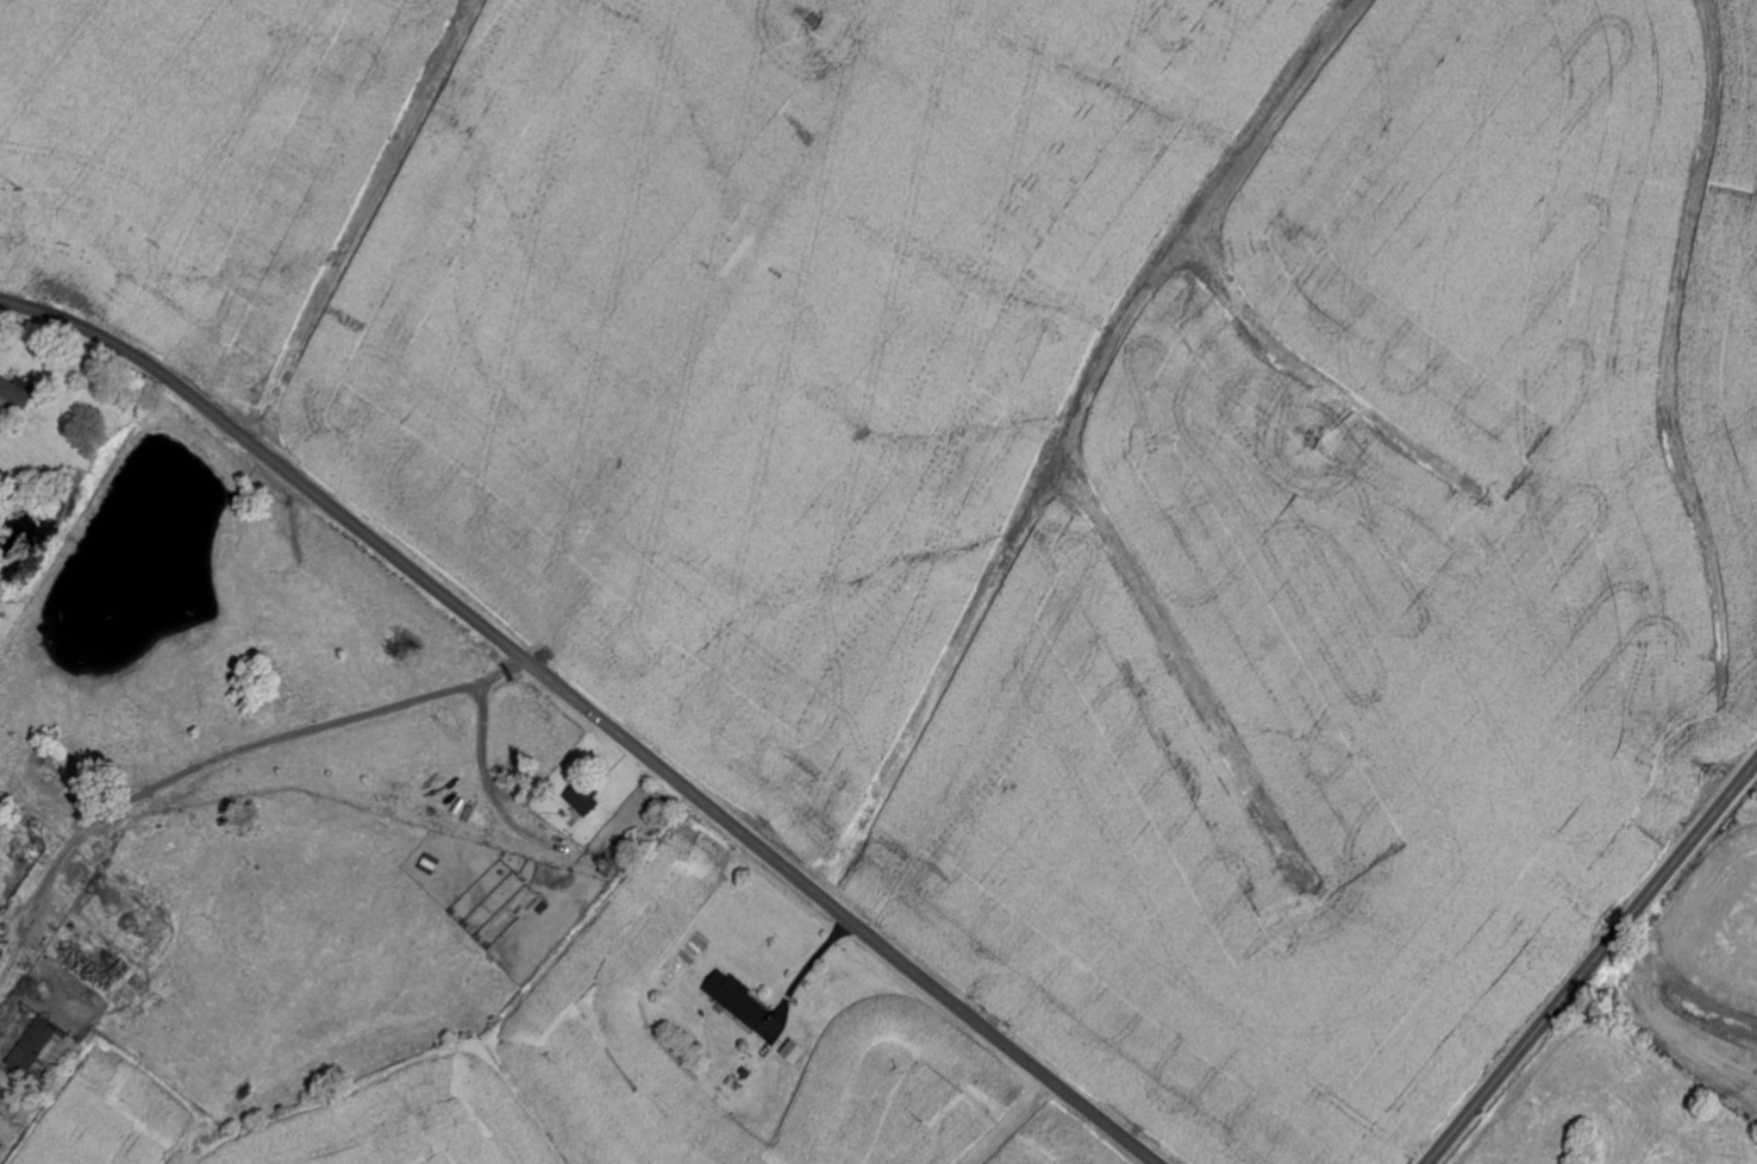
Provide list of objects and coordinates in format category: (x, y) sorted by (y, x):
building: (17, 392)
road: (590, 712)
road: (250, 745)
building: (584, 800)
road: (811, 963)
road: (1592, 963)
building: (739, 999)
building: (44, 1050)
building: (795, 1052)

